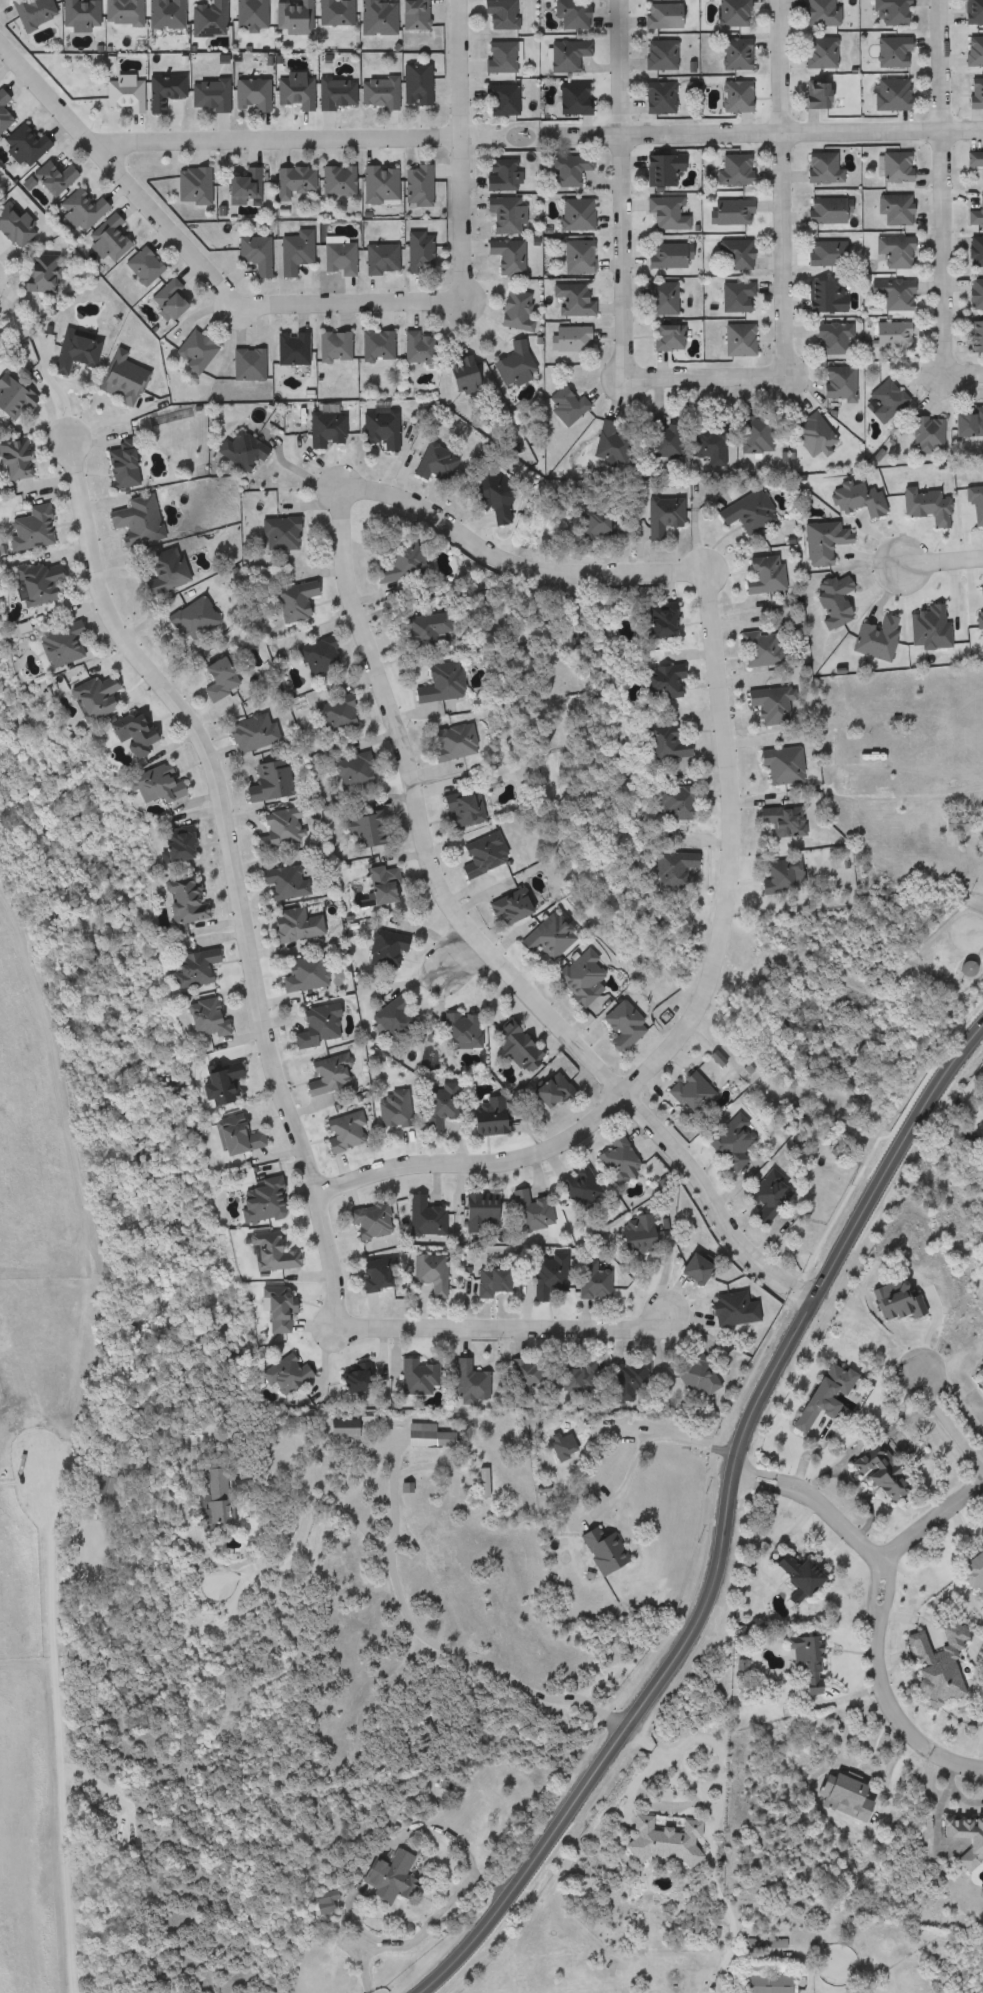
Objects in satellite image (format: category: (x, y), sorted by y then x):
building: (889, 10)
building: (331, 11)
building: (971, 11)
building: (28, 12)
building: (119, 12)
building: (729, 12)
building: (817, 12)
building: (161, 13)
building: (246, 13)
building: (497, 13)
building: (568, 13)
building: (77, 14)
building: (409, 14)
building: (657, 14)
building: (289, 17)
building: (372, 17)
building: (205, 18)
building: (888, 50)
building: (972, 50)
building: (731, 52)
building: (816, 52)
building: (656, 53)
building: (564, 54)
building: (496, 56)
road: (934, 59)
road: (778, 65)
road: (617, 66)
building: (412, 84)
building: (292, 89)
building: (160, 90)
building: (374, 91)
building: (120, 92)
building: (333, 92)
building: (973, 92)
building: (888, 93)
building: (205, 94)
building: (248, 94)
building: (810, 94)
building: (731, 95)
building: (655, 96)
building: (1, 98)
building: (569, 98)
building: (496, 99)
building: (2, 119)
road: (800, 128)
road: (582, 133)
road: (273, 138)
building: (19, 145)
building: (973, 160)
building: (818, 166)
building: (892, 167)
building: (563, 168)
building: (658, 168)
building: (733, 168)
building: (498, 173)
building: (49, 176)
building: (289, 179)
building: (335, 180)
building: (375, 182)
building: (189, 185)
building: (239, 185)
building: (413, 185)
building: (77, 208)
building: (890, 208)
building: (727, 210)
building: (822, 210)
building: (974, 211)
building: (663, 212)
building: (501, 213)
building: (573, 213)
building: (101, 238)
building: (891, 250)
building: (974, 250)
building: (290, 251)
building: (415, 251)
building: (821, 252)
building: (250, 253)
building: (732, 253)
building: (665, 254)
building: (503, 255)
building: (575, 255)
building: (334, 257)
building: (376, 257)
building: (139, 265)
road: (937, 268)
building: (35, 274)
building: (888, 292)
building: (974, 293)
building: (821, 295)
building: (733, 296)
building: (164, 297)
building: (658, 297)
building: (568, 299)
road: (321, 300)
building: (510, 310)
building: (886, 333)
building: (973, 336)
building: (663, 337)
building: (565, 338)
building: (827, 338)
building: (734, 339)
building: (372, 345)
building: (328, 346)
building: (413, 347)
building: (287, 348)
building: (71, 350)
building: (191, 350)
building: (243, 363)
building: (509, 365)
building: (455, 374)
road: (700, 376)
building: (116, 377)
building: (834, 381)
road: (47, 391)
building: (10, 399)
building: (882, 399)
building: (560, 405)
building: (964, 423)
building: (322, 428)
building: (375, 428)
building: (925, 433)
building: (808, 434)
building: (753, 436)
building: (660, 441)
building: (607, 442)
building: (704, 444)
building: (237, 448)
building: (10, 459)
building: (430, 463)
building: (115, 464)
road: (294, 468)
building: (484, 494)
road: (335, 498)
building: (743, 510)
building: (658, 514)
building: (131, 520)
building: (589, 524)
building: (21, 529)
building: (275, 533)
road: (940, 557)
building: (394, 562)
building: (159, 570)
building: (759, 574)
building: (29, 582)
building: (289, 600)
building: (656, 619)
building: (188, 620)
building: (417, 629)
building: (52, 644)
building: (755, 648)
building: (313, 655)
building: (211, 678)
building: (658, 682)
building: (433, 683)
building: (88, 696)
building: (765, 703)
building: (331, 714)
building: (128, 732)
building: (247, 732)
building: (446, 741)
building: (659, 741)
building: (775, 763)
building: (349, 771)
building: (264, 781)
building: (149, 785)
road: (215, 799)
building: (669, 802)
road: (981, 805)
building: (456, 807)
building: (777, 820)
building: (275, 829)
building: (360, 829)
building: (170, 844)
building: (474, 854)
building: (667, 867)
building: (774, 876)
building: (279, 882)
building: (377, 886)
building: (173, 901)
building: (503, 907)
building: (290, 924)
building: (541, 937)
building: (381, 948)
road: (456, 954)
building: (185, 967)
building: (961, 968)
building: (301, 974)
building: (573, 977)
building: (198, 1018)
building: (389, 1018)
building: (313, 1026)
building: (616, 1026)
building: (456, 1030)
building: (509, 1046)
building: (324, 1074)
building: (213, 1082)
building: (545, 1090)
building: (683, 1092)
building: (435, 1105)
building: (389, 1109)
building: (483, 1117)
building: (341, 1132)
building: (228, 1136)
building: (724, 1139)
building: (611, 1159)
road: (473, 1162)
building: (575, 1186)
building: (763, 1194)
building: (254, 1200)
building: (527, 1209)
building: (475, 1211)
building: (420, 1215)
building: (366, 1220)
building: (631, 1234)
building: (260, 1251)
building: (688, 1268)
building: (374, 1272)
building: (426, 1272)
building: (544, 1273)
building: (485, 1279)
building: (587, 1279)
building: (728, 1307)
building: (265, 1309)
road: (434, 1324)
building: (276, 1372)
building: (522, 1372)
building: (692, 1375)
building: (350, 1376)
building: (412, 1376)
building: (573, 1376)
building: (627, 1376)
building: (465, 1381)
building: (817, 1393)
road: (949, 1411)
building: (336, 1429)
building: (415, 1434)
road: (651, 1438)
building: (416, 1465)
building: (552, 1467)
building: (876, 1472)
building: (92, 1488)
building: (201, 1493)
road: (389, 1494)
road: (720, 1521)
road: (927, 1521)
building: (970, 1573)
building: (796, 1575)
road: (395, 1592)
road: (877, 1605)
building: (799, 1665)
road: (61, 1750)
building: (840, 1795)
building: (963, 1837)
building: (390, 1879)
building: (325, 1895)
road: (423, 1926)
building: (763, 1942)
building: (760, 1978)

